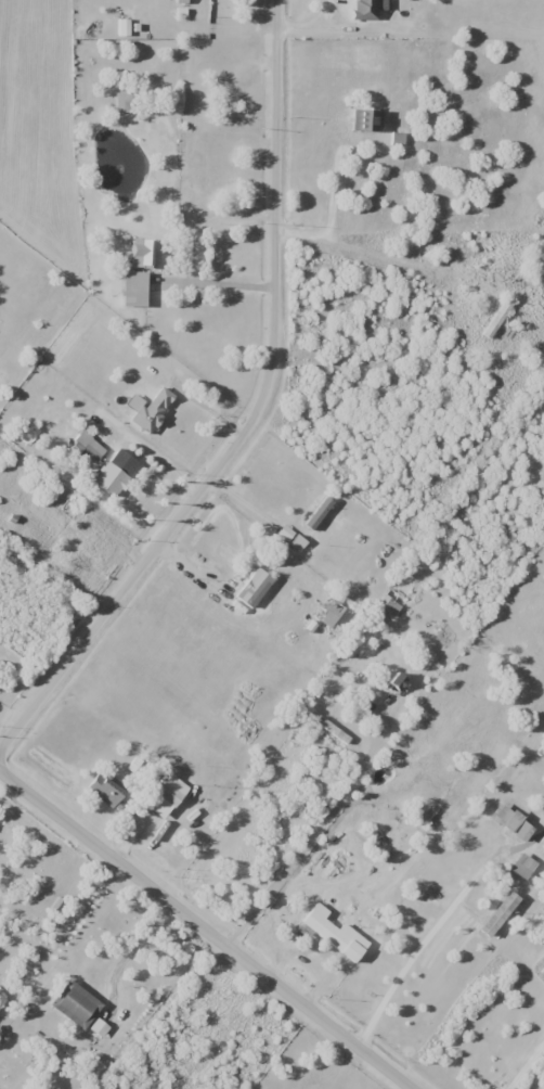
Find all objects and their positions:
building: (361, 9)
building: (121, 26)
building: (124, 102)
building: (190, 106)
building: (362, 119)
building: (143, 253)
building: (514, 271)
building: (133, 282)
building: (494, 319)
building: (151, 408)
road: (252, 415)
building: (88, 445)
building: (108, 478)
building: (316, 512)
building: (290, 538)
building: (251, 588)
building: (387, 604)
building: (326, 612)
building: (392, 682)
building: (105, 789)
building: (161, 796)
building: (507, 819)
road: (316, 833)
building: (521, 866)
building: (495, 913)
road: (205, 930)
building: (333, 933)
road: (417, 948)
building: (73, 1004)
building: (4, 1065)
road: (526, 1065)

